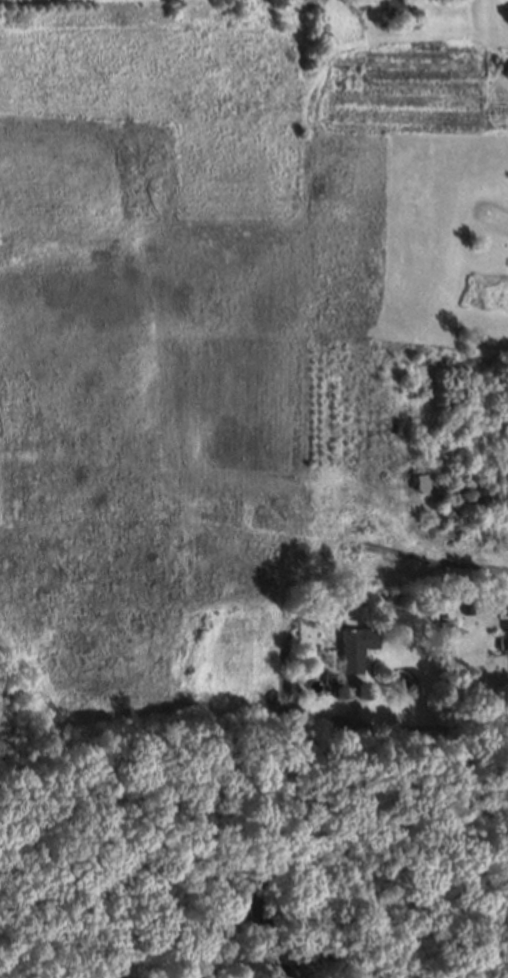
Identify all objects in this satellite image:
building: (390, 8)
building: (464, 607)
building: (507, 630)
building: (350, 645)
building: (325, 677)
road: (424, 726)
road: (410, 902)
building: (254, 914)
building: (105, 918)
building: (278, 971)

